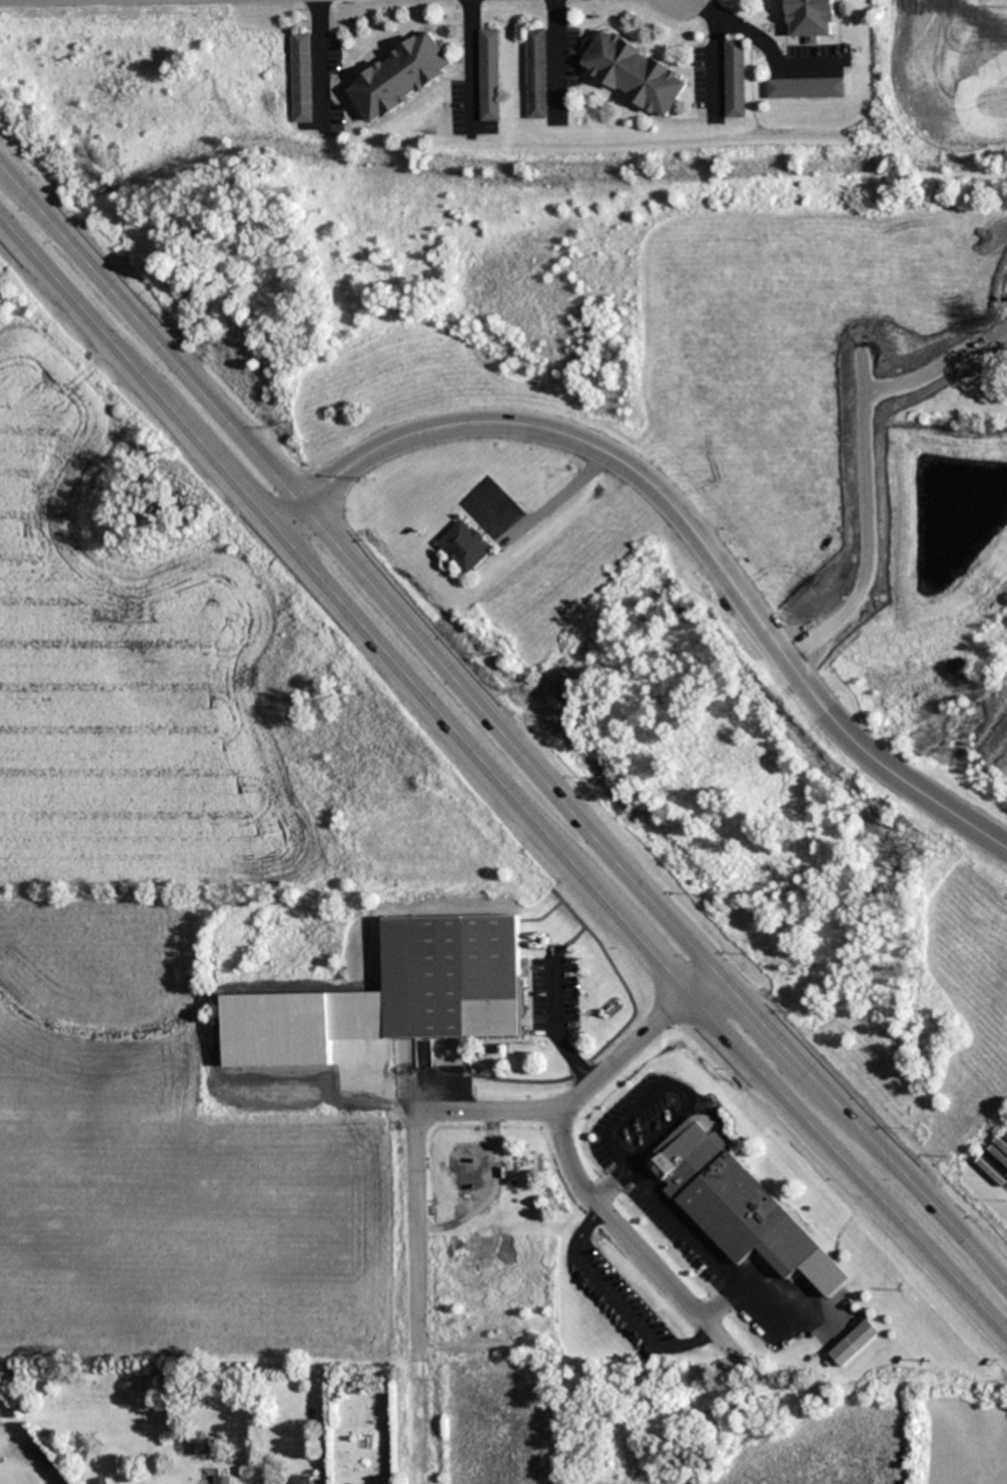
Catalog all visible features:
road: (49, 1)
road: (52, 1)
building: (810, 19)
road: (764, 47)
road: (554, 59)
road: (471, 60)
road: (311, 62)
road: (716, 63)
crop: (941, 69)
building: (536, 73)
building: (633, 73)
building: (489, 75)
building: (400, 76)
building: (301, 77)
building: (734, 78)
building: (804, 88)
road: (859, 319)
road: (937, 355)
road: (865, 515)
road: (683, 519)
building: (465, 546)
road: (497, 730)
road: (495, 777)
crop: (182, 885)
building: (454, 977)
road: (559, 1024)
road: (468, 1113)
building: (468, 1170)
building: (493, 1170)
building: (730, 1200)
road: (639, 1250)
building: (832, 1298)
road: (615, 1300)
crop: (698, 1428)
building: (224, 1480)
building: (298, 1480)

